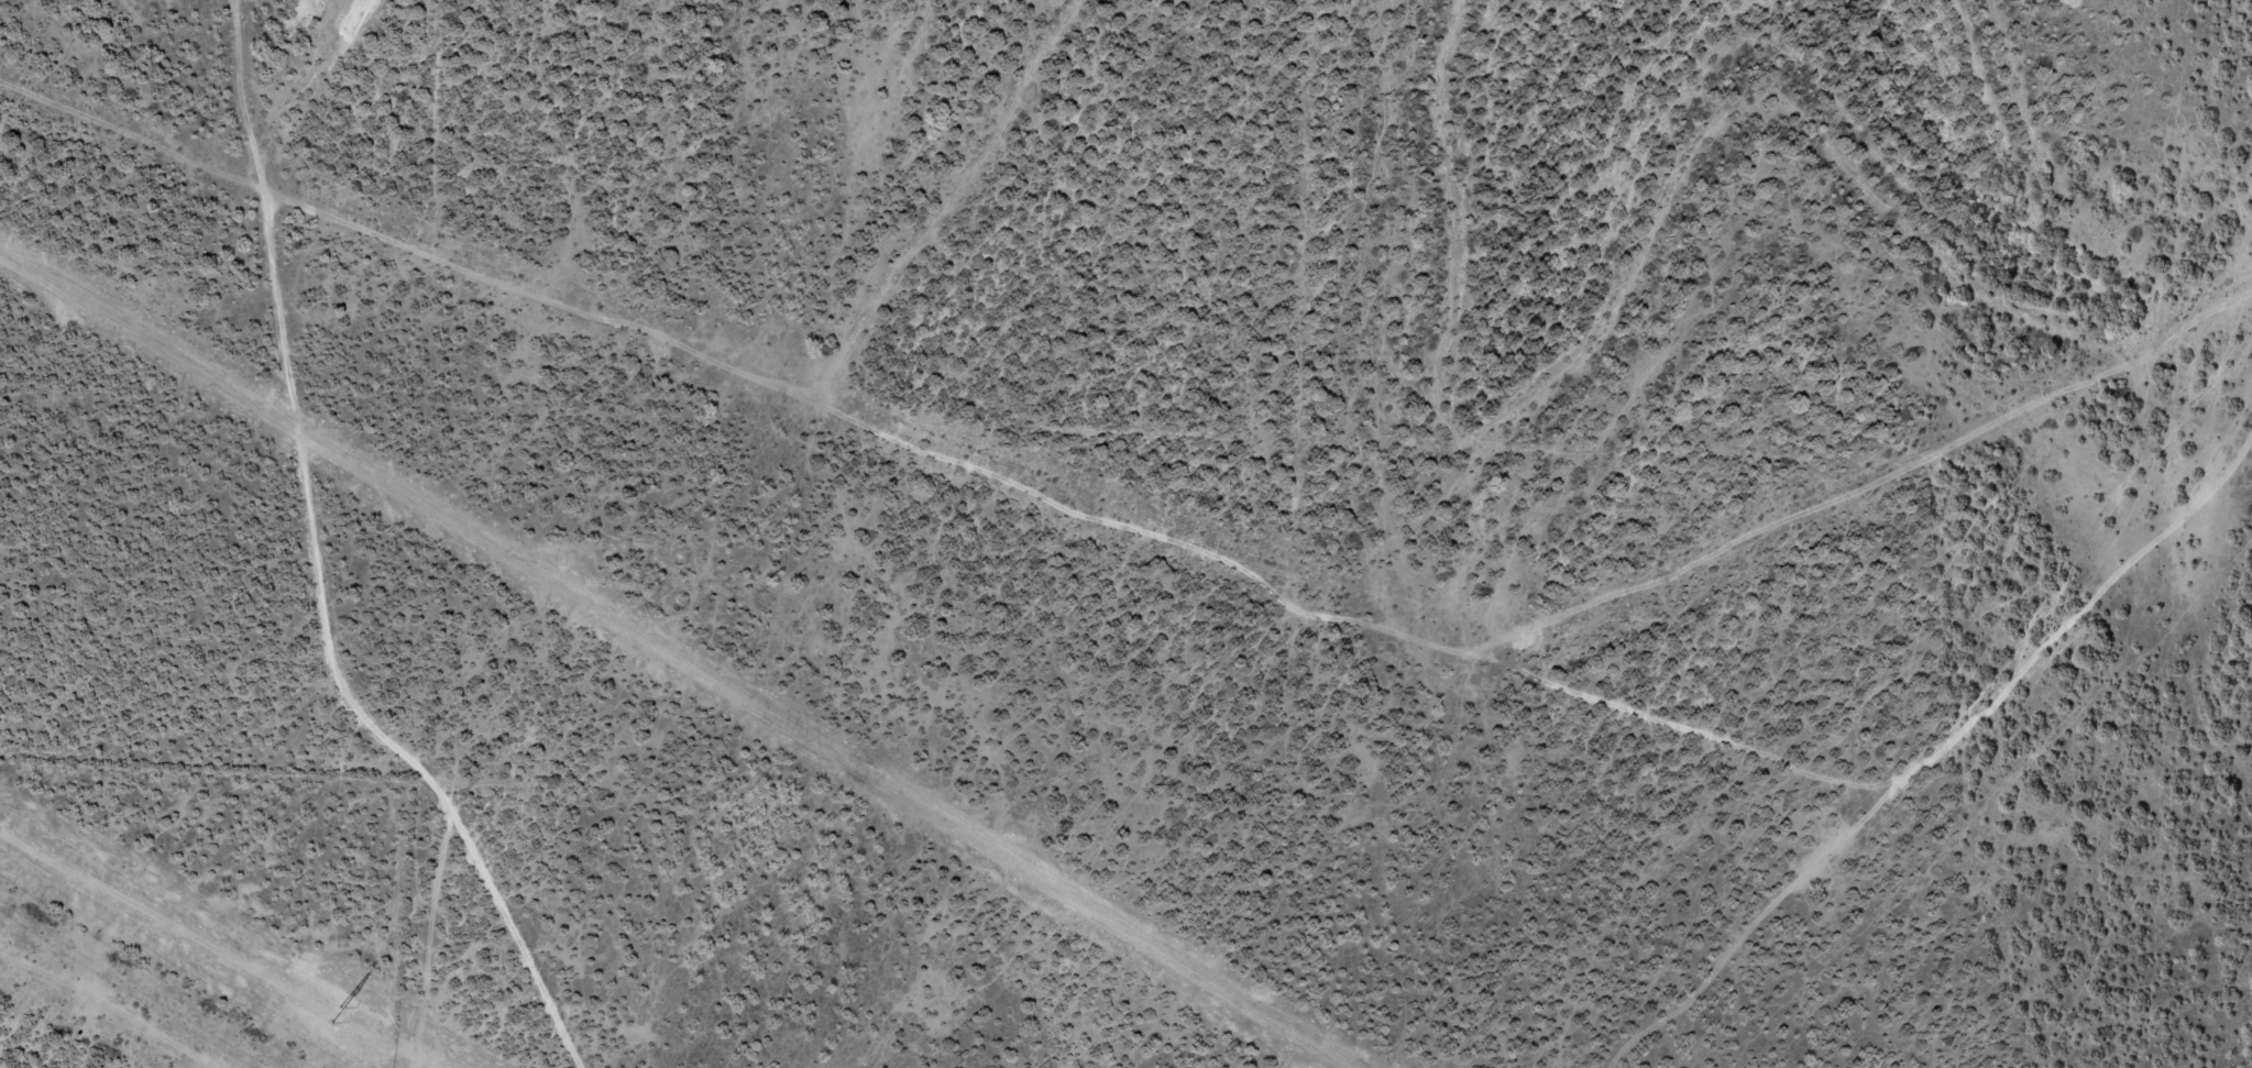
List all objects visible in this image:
road: (344, 543)
road: (1951, 770)

